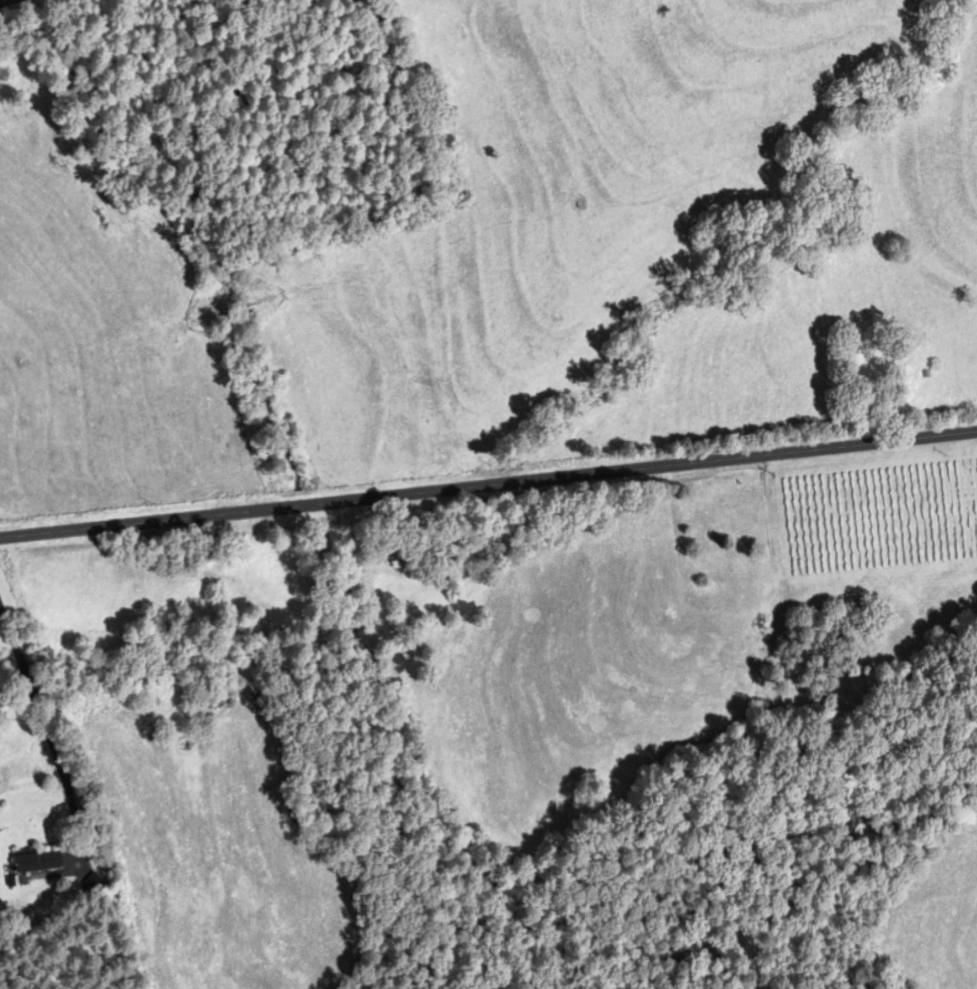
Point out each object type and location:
road: (15, 4)
road: (488, 487)
road: (44, 726)
building: (37, 863)

